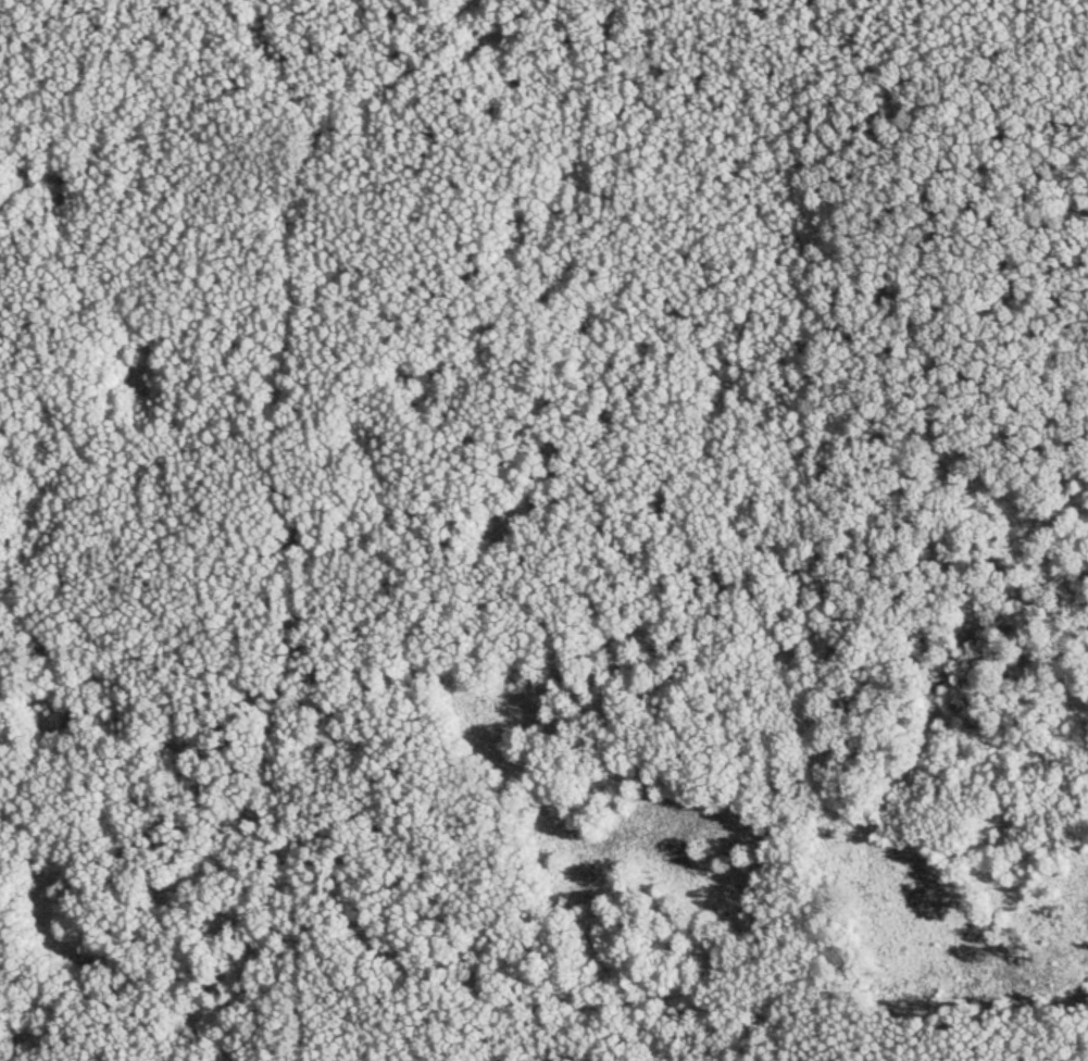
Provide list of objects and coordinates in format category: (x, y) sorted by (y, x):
road: (291, 527)

